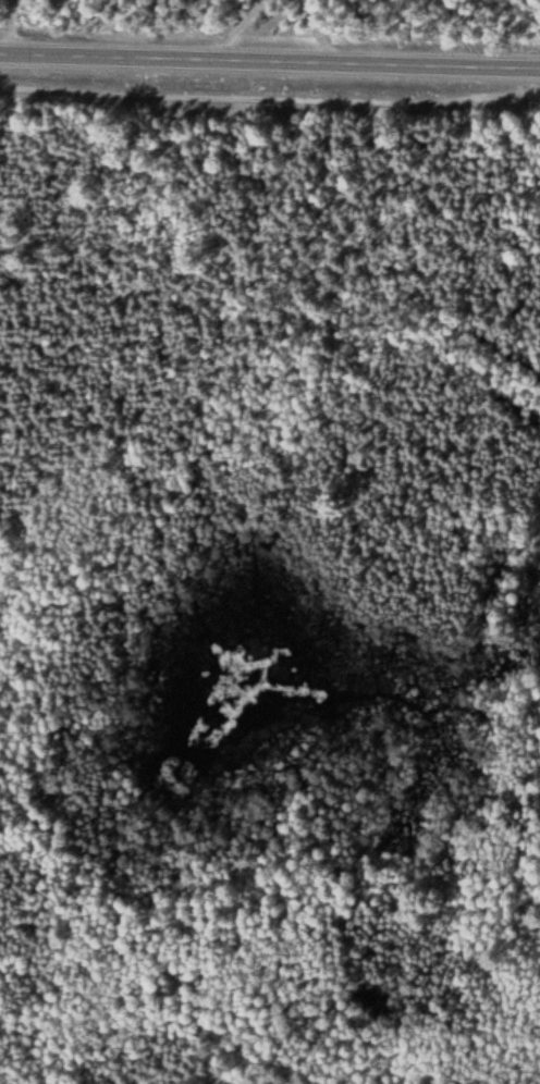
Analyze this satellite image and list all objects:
road: (107, 30)
road: (279, 33)
road: (270, 64)
road: (269, 97)
road: (42, 1031)

